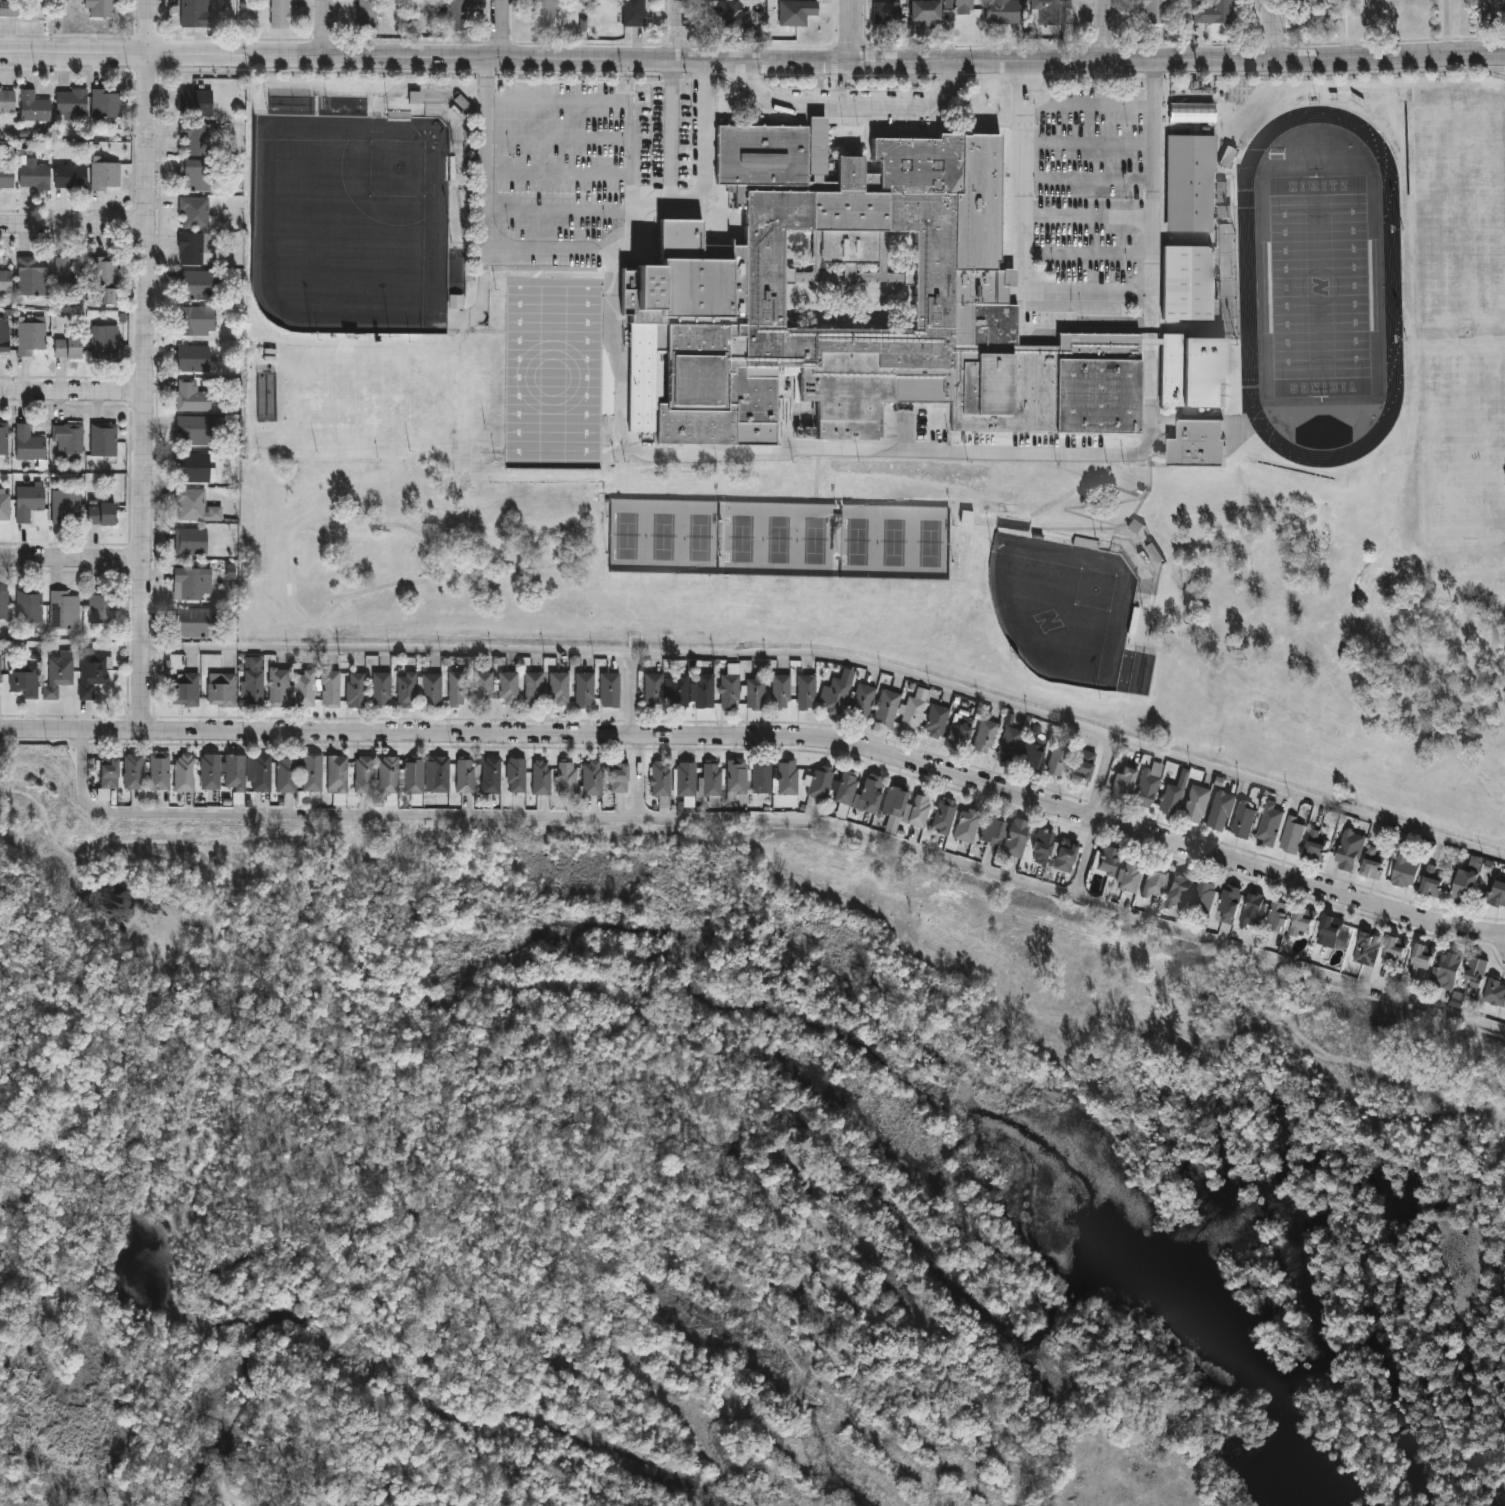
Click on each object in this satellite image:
building: (1500, 2)
building: (788, 3)
building: (963, 7)
building: (102, 8)
building: (5, 9)
building: (545, 11)
building: (997, 11)
building: (1048, 12)
building: (1151, 12)
building: (1216, 12)
building: (634, 13)
building: (924, 13)
building: (194, 14)
building: (280, 14)
building: (367, 15)
building: (456, 15)
building: (729, 15)
building: (886, 15)
road: (150, 27)
road: (328, 28)
road: (504, 29)
road: (1339, 29)
road: (678, 30)
road: (1106, 30)
road: (1272, 30)
road: (853, 31)
road: (426, 57)
road: (1233, 60)
road: (907, 62)
road: (1028, 76)
road: (1153, 76)
road: (947, 86)
building: (6, 100)
building: (195, 102)
building: (70, 103)
building: (105, 103)
road: (1090, 103)
road: (822, 104)
building: (465, 106)
building: (32, 107)
building: (1192, 111)
building: (1137, 112)
road: (671, 132)
building: (196, 137)
building: (1229, 157)
building: (33, 174)
building: (196, 174)
building: (105, 175)
building: (6, 176)
building: (70, 176)
building: (1190, 181)
building: (194, 212)
road: (485, 215)
road: (1090, 216)
road: (75, 222)
park: (353, 222)
building: (191, 248)
building: (527, 255)
building: (559, 255)
building: (590, 256)
building: (31, 275)
building: (67, 276)
building: (702, 277)
building: (104, 279)
building: (5, 280)
building: (1187, 281)
building: (195, 283)
building: (511, 284)
building: (539, 284)
building: (566, 285)
building: (593, 285)
park: (1319, 286)
track: (1247, 288)
road: (1087, 296)
building: (457, 303)
road: (1152, 316)
building: (198, 320)
building: (4, 331)
building: (31, 338)
road: (1152, 341)
building: (106, 342)
building: (72, 346)
building: (193, 358)
road: (147, 392)
road: (73, 393)
building: (193, 397)
building: (194, 430)
building: (4, 438)
building: (68, 438)
building: (103, 439)
building: (1195, 441)
building: (28, 443)
road: (719, 456)
building: (193, 467)
building: (28, 501)
building: (65, 506)
building: (195, 506)
building: (5, 507)
building: (101, 513)
park: (665, 537)
park: (780, 539)
building: (191, 541)
park: (895, 541)
road: (72, 557)
building: (190, 582)
building: (4, 604)
building: (28, 606)
building: (101, 606)
park: (1067, 608)
building: (63, 610)
building: (196, 623)
road: (839, 659)
building: (0, 670)
building: (92, 672)
building: (57, 676)
building: (24, 681)
building: (253, 684)
building: (278, 688)
building: (482, 688)
building: (508, 688)
building: (221, 689)
building: (303, 689)
building: (329, 689)
building: (381, 689)
building: (406, 689)
building: (457, 689)
building: (533, 689)
building: (558, 689)
building: (184, 690)
building: (584, 690)
building: (610, 690)
building: (355, 691)
building: (431, 691)
building: (653, 691)
building: (704, 691)
building: (729, 691)
building: (780, 691)
building: (806, 691)
building: (678, 692)
building: (755, 692)
building: (837, 694)
road: (633, 697)
building: (862, 701)
building: (887, 708)
building: (911, 714)
building: (936, 721)
building: (960, 729)
building: (985, 735)
road: (766, 737)
building: (1009, 744)
building: (1031, 756)
building: (1057, 760)
building: (1082, 767)
building: (133, 771)
building: (209, 771)
building: (108, 772)
building: (158, 772)
building: (184, 772)
building: (235, 772)
building: (260, 773)
building: (311, 773)
building: (286, 774)
building: (336, 774)
building: (363, 774)
building: (437, 774)
building: (388, 775)
building: (412, 775)
building: (491, 775)
building: (516, 775)
building: (465, 776)
building: (618, 776)
building: (736, 776)
building: (540, 777)
building: (761, 777)
building: (787, 777)
building: (567, 778)
building: (591, 778)
road: (640, 778)
building: (660, 778)
building: (685, 779)
building: (712, 779)
road: (1101, 779)
building: (820, 781)
building: (1122, 781)
building: (845, 787)
building: (1146, 789)
building: (870, 792)
building: (1172, 796)
building: (893, 802)
building: (1195, 803)
building: (917, 810)
building: (1219, 811)
building: (944, 815)
building: (1243, 818)
road: (773, 819)
building: (1269, 823)
building: (967, 824)
building: (991, 830)
building: (1291, 834)
building: (1016, 837)
building: (1315, 844)
building: (1041, 846)
building: (1349, 850)
building: (1064, 855)
building: (1106, 858)
road: (1086, 859)
building: (1371, 863)
building: (1404, 871)
building: (1129, 874)
building: (1155, 878)
building: (1432, 880)
building: (1464, 884)
building: (1179, 889)
building: (1498, 892)
building: (1204, 896)
building: (1229, 902)
building: (1252, 909)
building: (1277, 914)
building: (1301, 919)
building: (1328, 930)
building: (1367, 948)
building: (1394, 950)
building: (1421, 956)
building: (1448, 969)
building: (1474, 972)
building: (1495, 991)
building: (1079, 998)
building: (1099, 1456)
building: (238, 1504)

